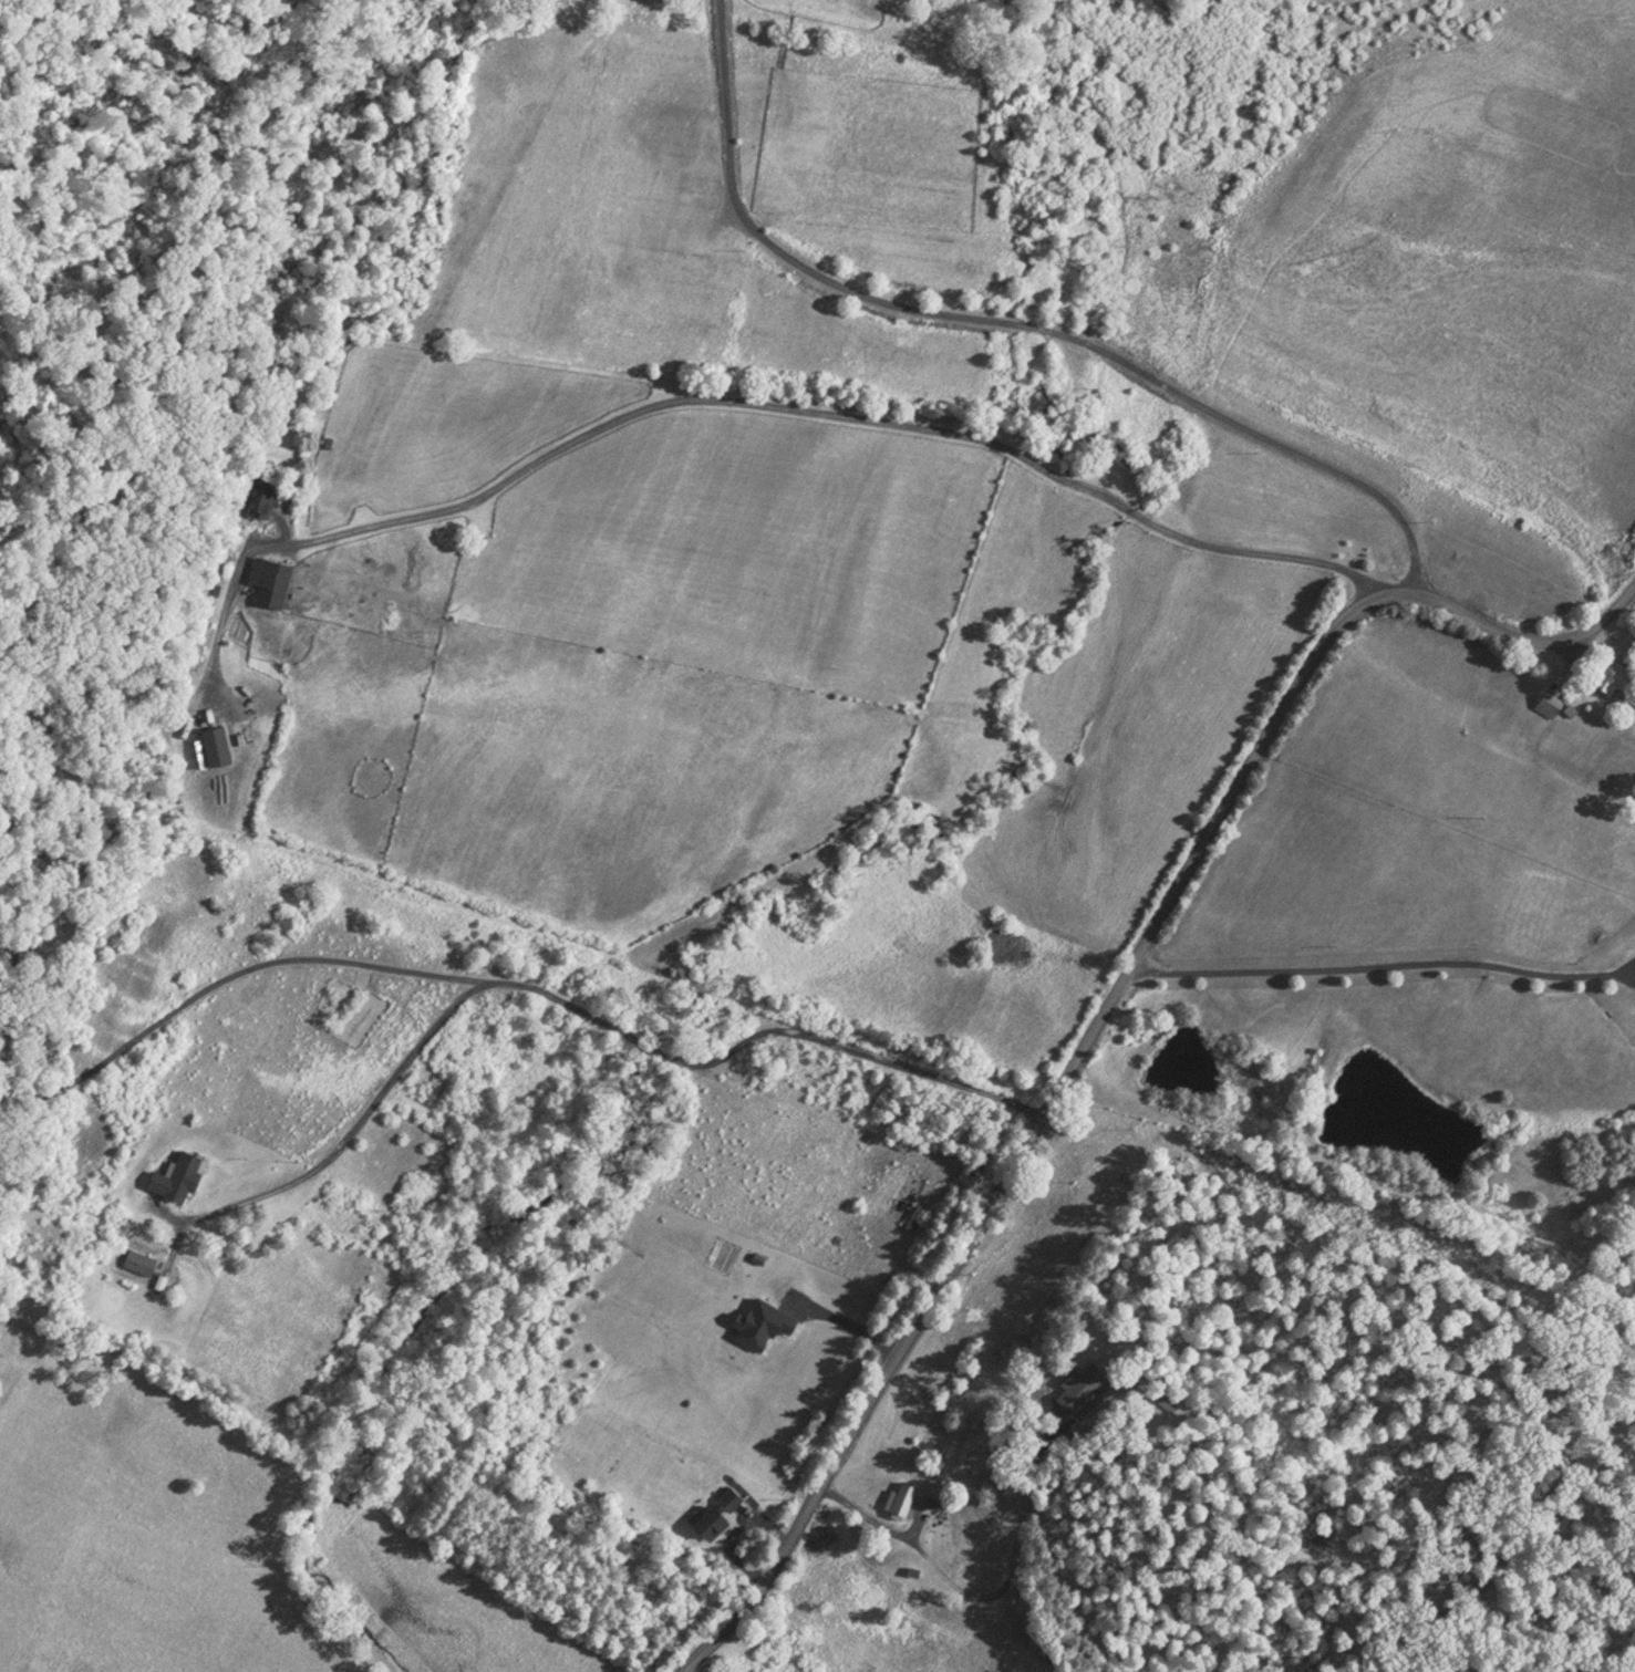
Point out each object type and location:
road: (1012, 320)
road: (841, 413)
building: (265, 498)
building: (272, 579)
building: (1613, 673)
building: (1550, 702)
building: (218, 745)
road: (1390, 957)
road: (446, 974)
road: (1105, 1015)
road: (356, 1129)
building: (180, 1173)
building: (139, 1259)
road: (850, 1327)
building: (1082, 1382)
building: (900, 1497)
building: (720, 1509)
road: (989, 1597)

